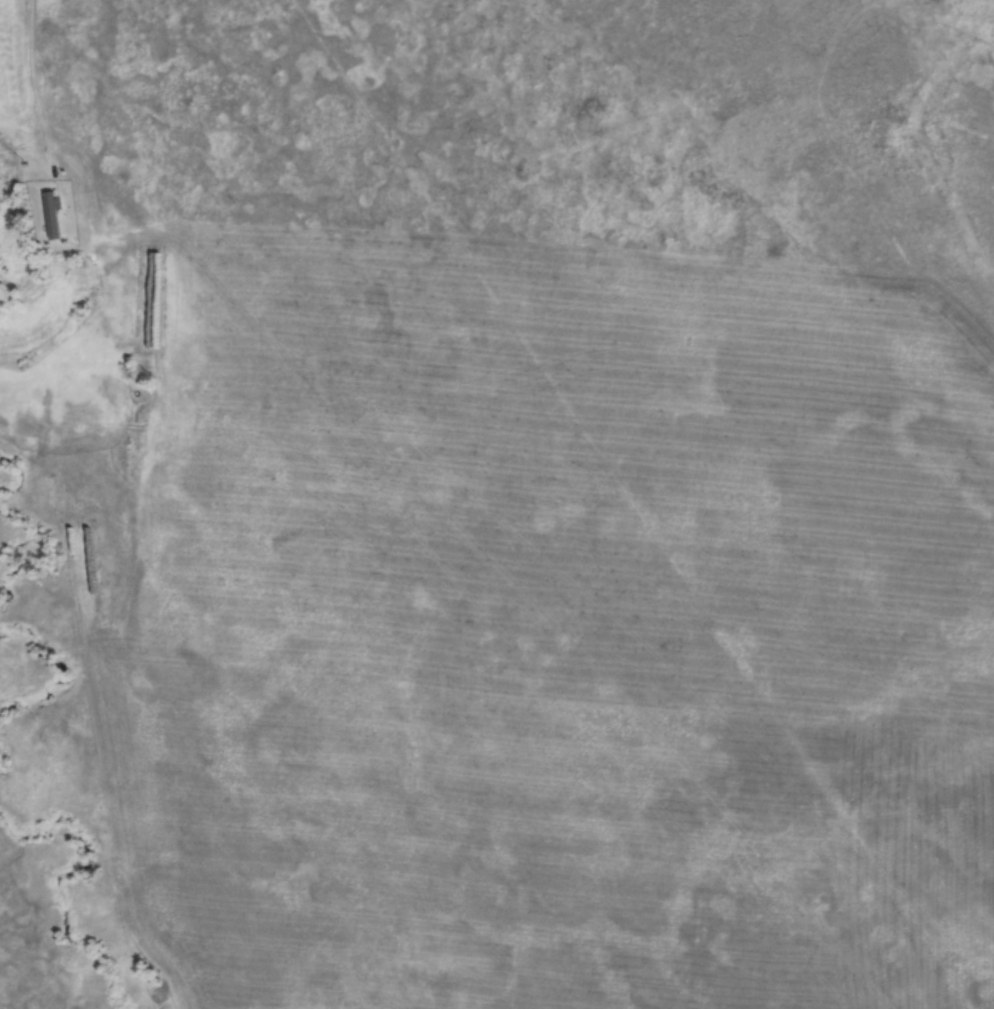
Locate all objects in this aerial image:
building: (48, 215)

